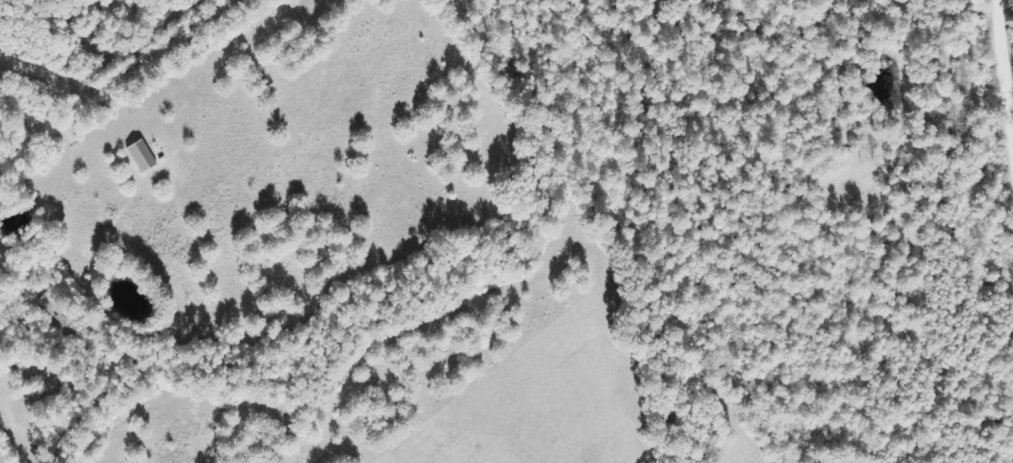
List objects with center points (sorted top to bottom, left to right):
road: (98, 68)
building: (140, 157)
road: (998, 339)

